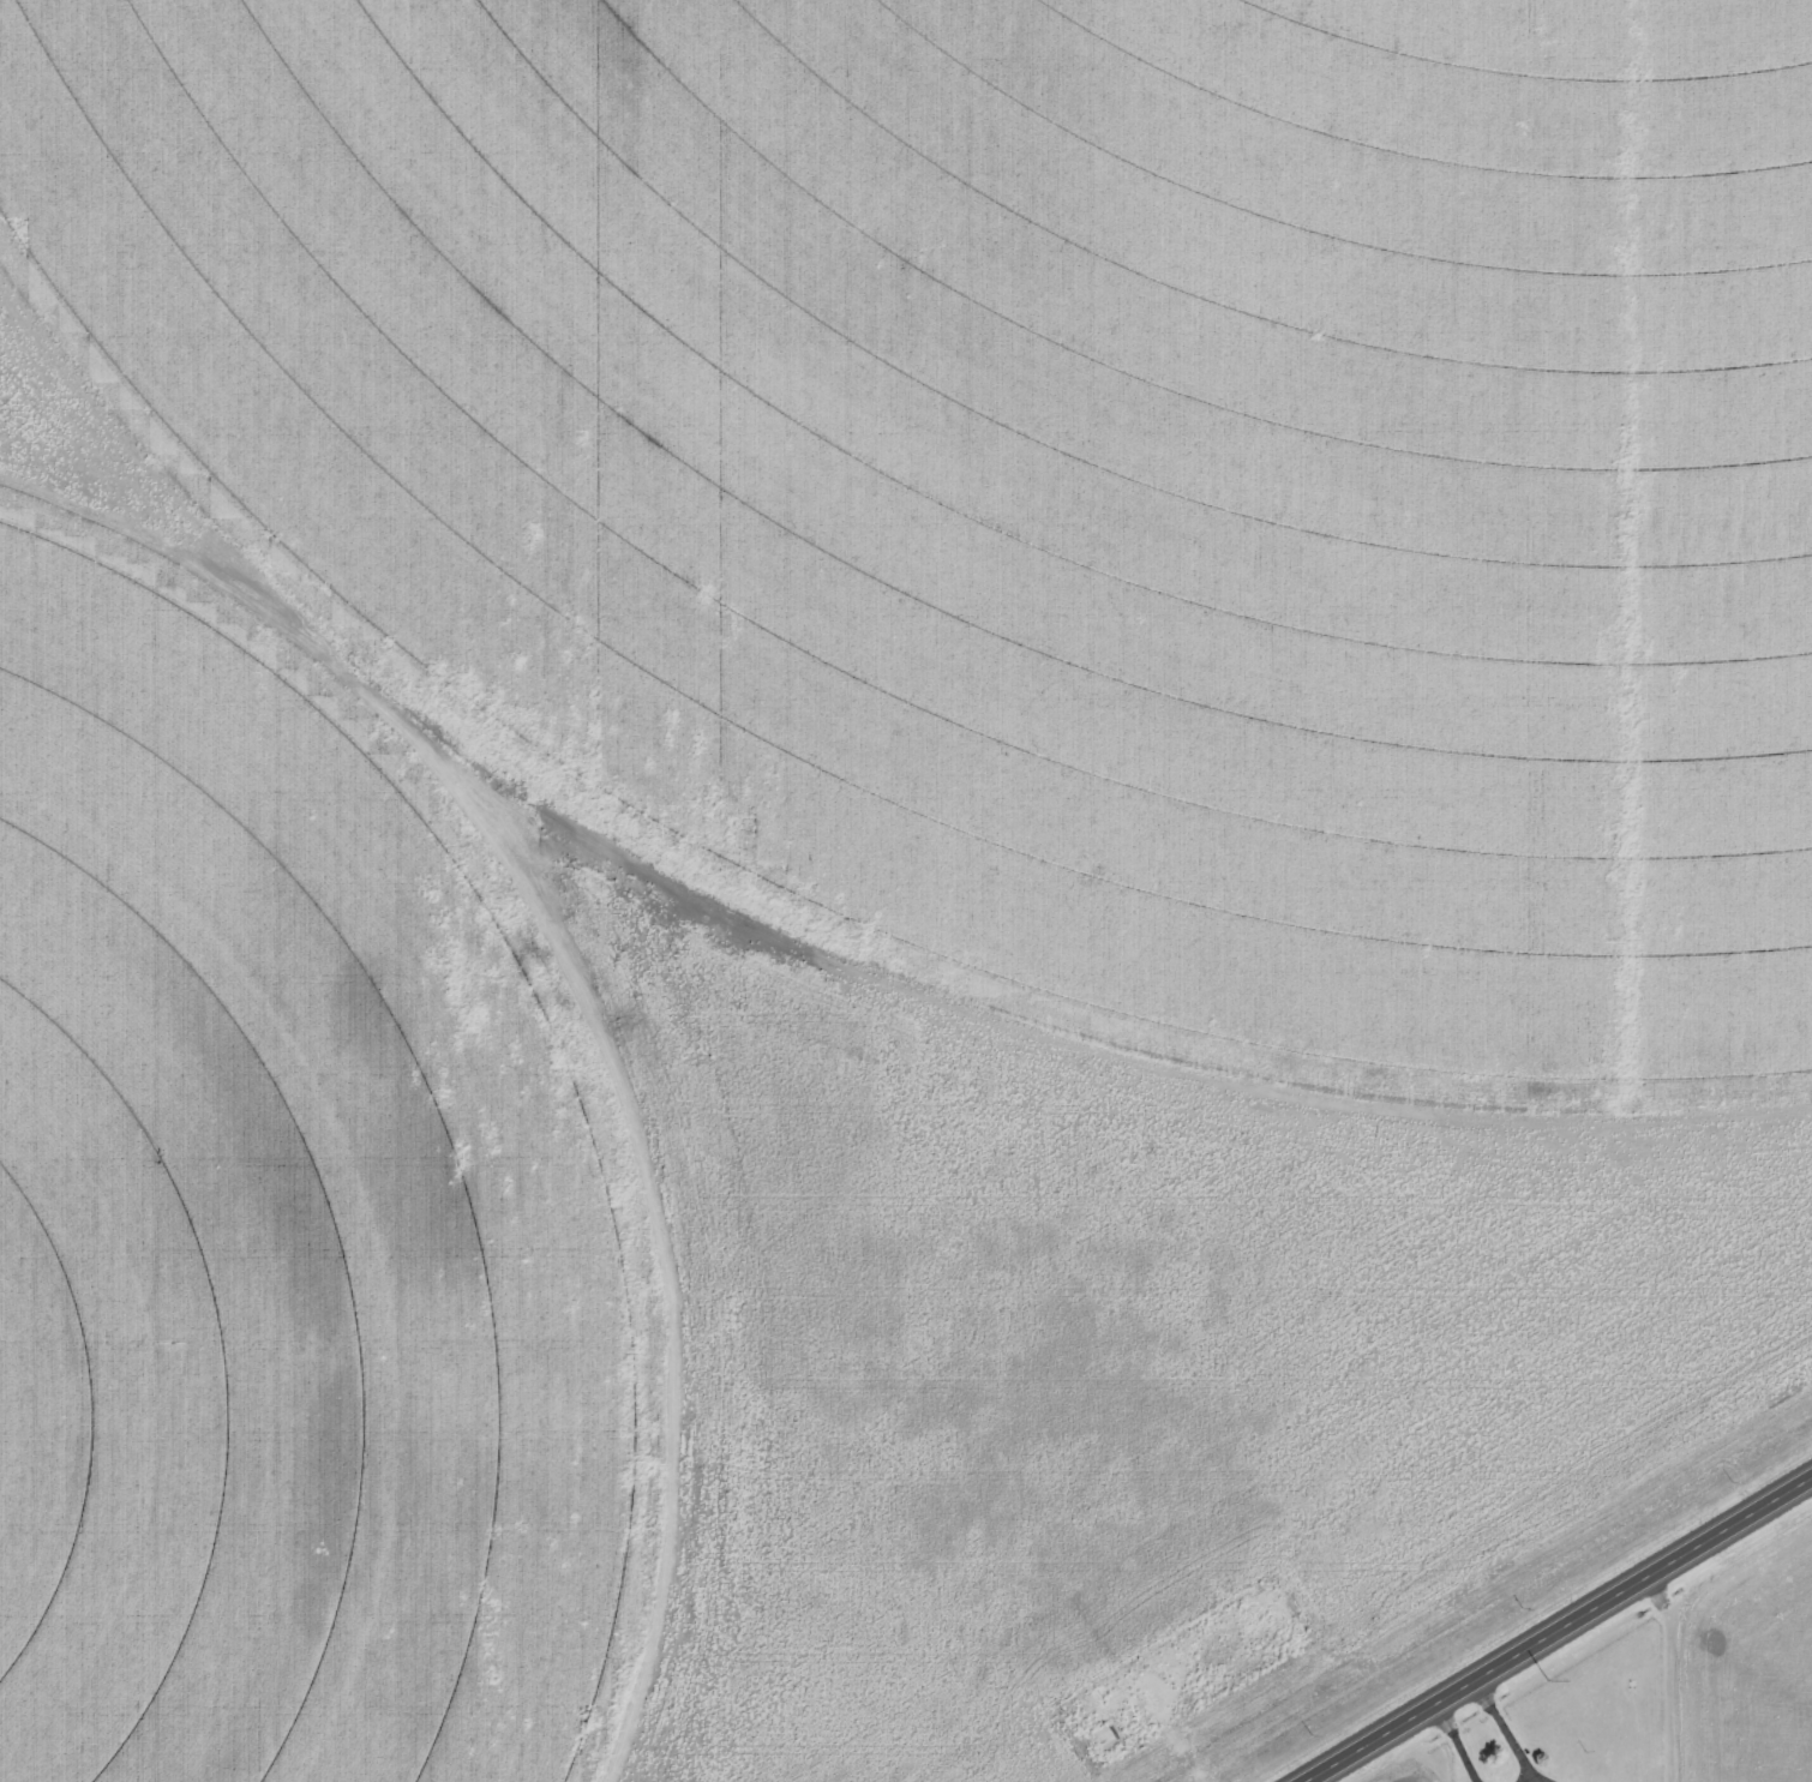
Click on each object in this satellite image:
road: (1562, 1631)
road: (1704, 1663)
power tower: (1547, 1678)

